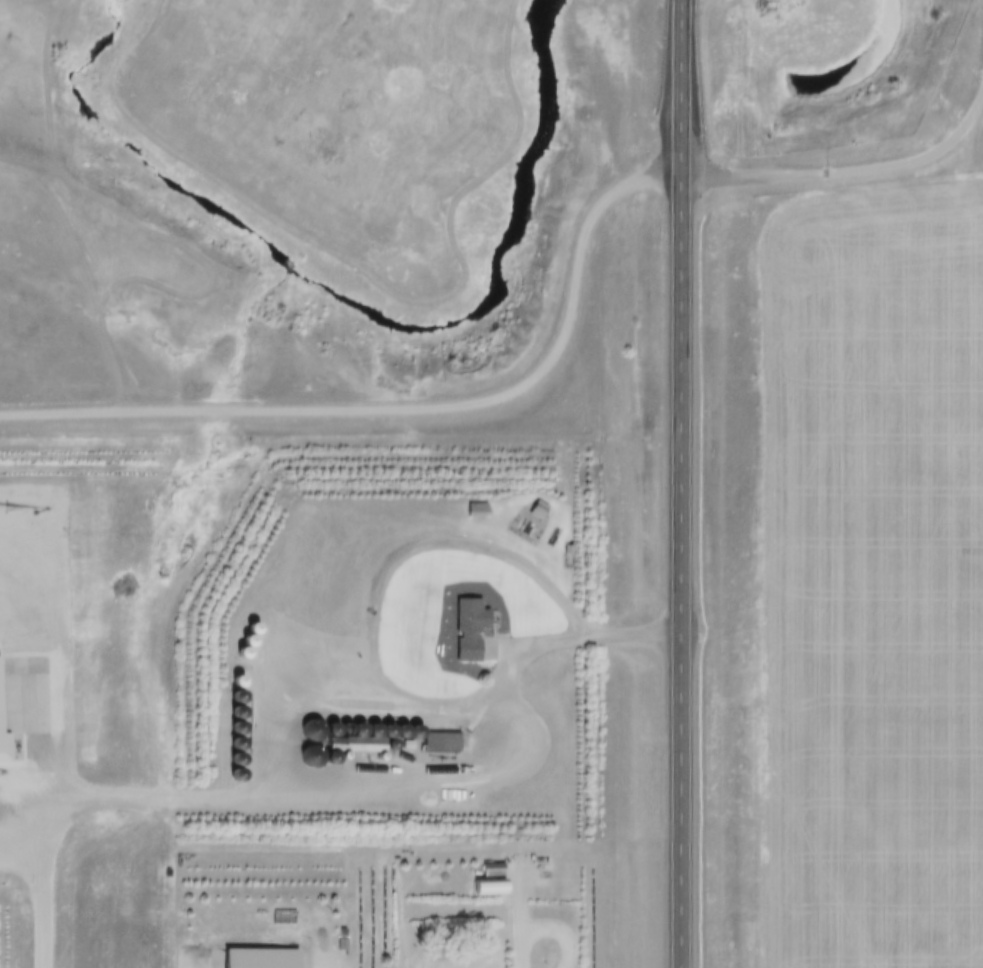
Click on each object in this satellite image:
road: (978, 149)
road: (846, 175)
road: (680, 483)
building: (464, 619)
building: (435, 733)
road: (487, 776)
building: (487, 860)
road: (519, 913)

